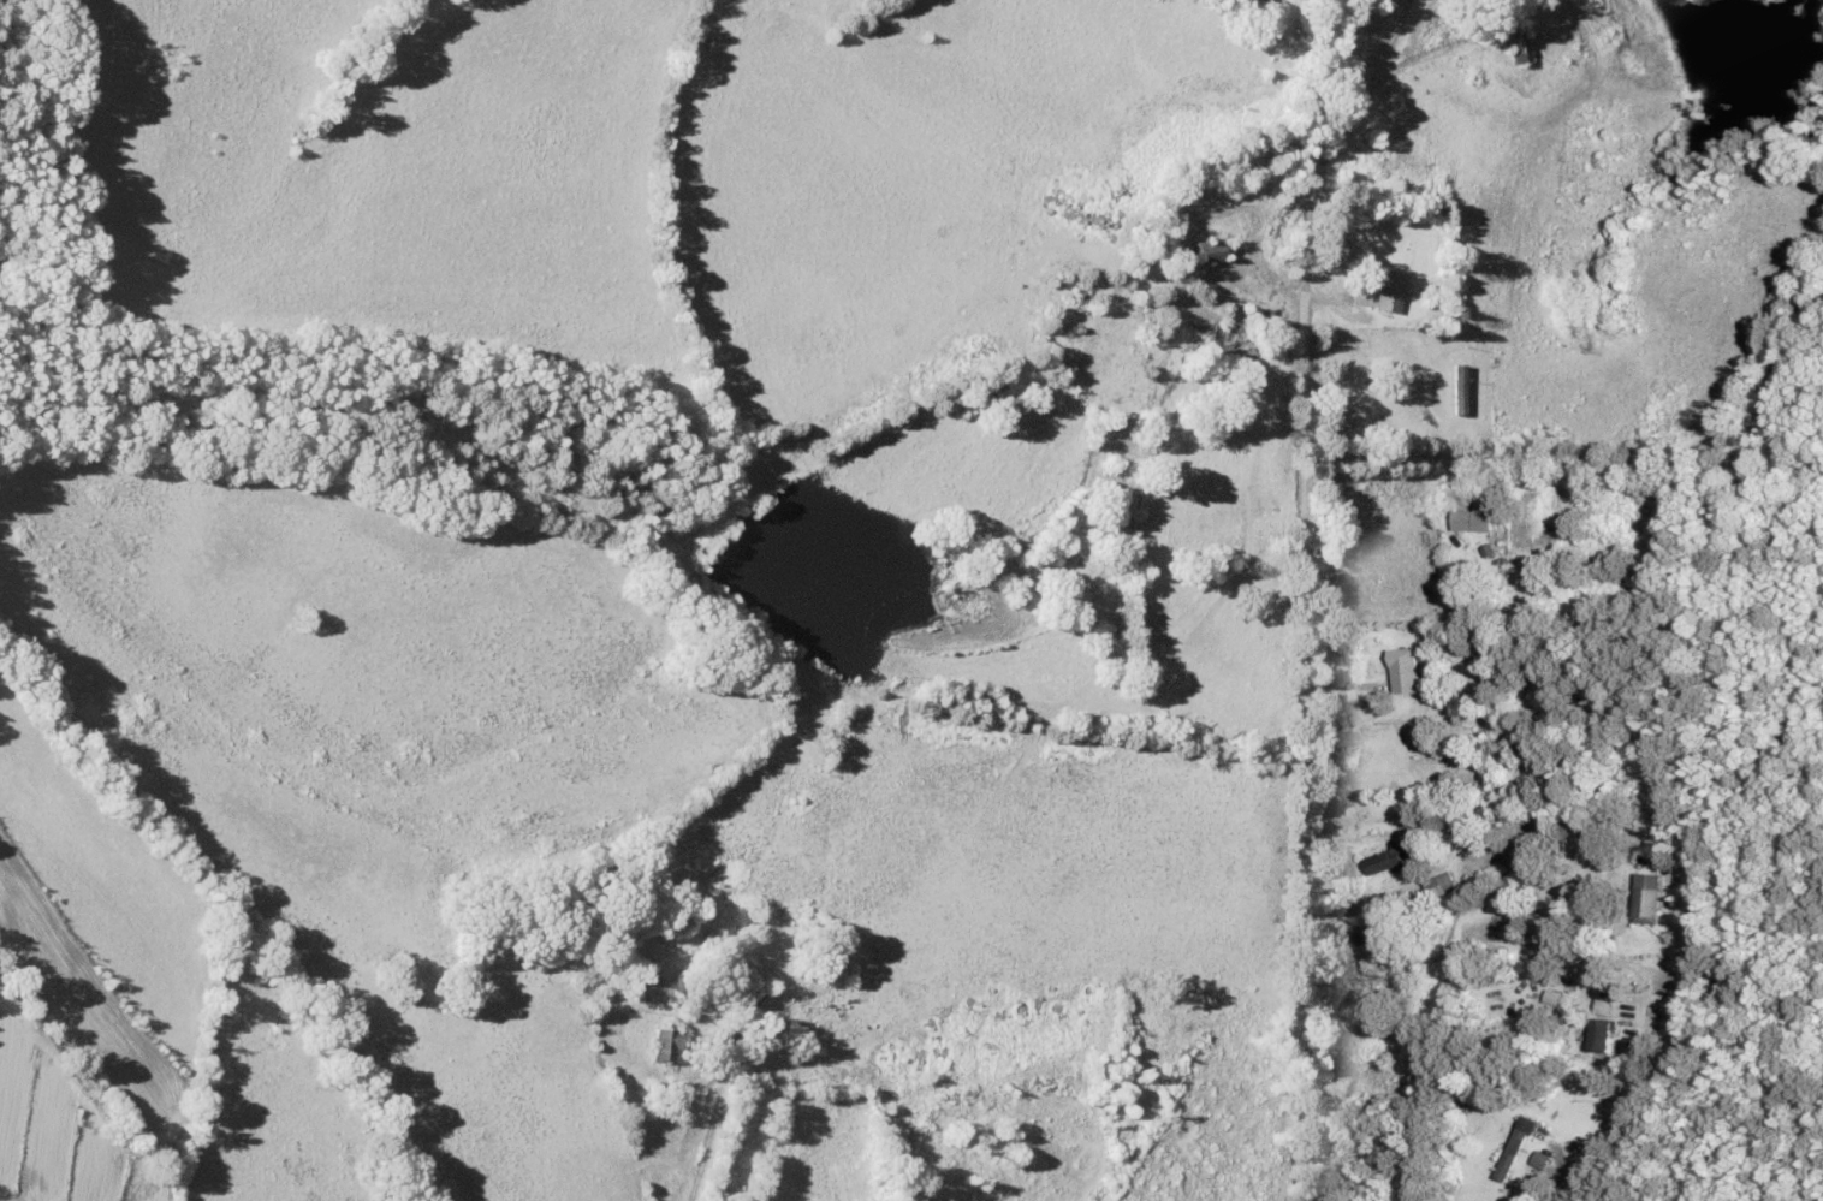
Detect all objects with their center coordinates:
building: (1515, 46)
building: (1209, 251)
building: (1389, 291)
building: (1475, 518)
road: (1501, 534)
road: (1352, 599)
building: (1401, 671)
building: (1657, 808)
building: (1383, 860)
building: (1435, 886)
building: (1641, 897)
building: (750, 993)
building: (1595, 1035)
building: (666, 1045)
road: (1659, 1046)
road: (714, 1125)
building: (1514, 1148)

